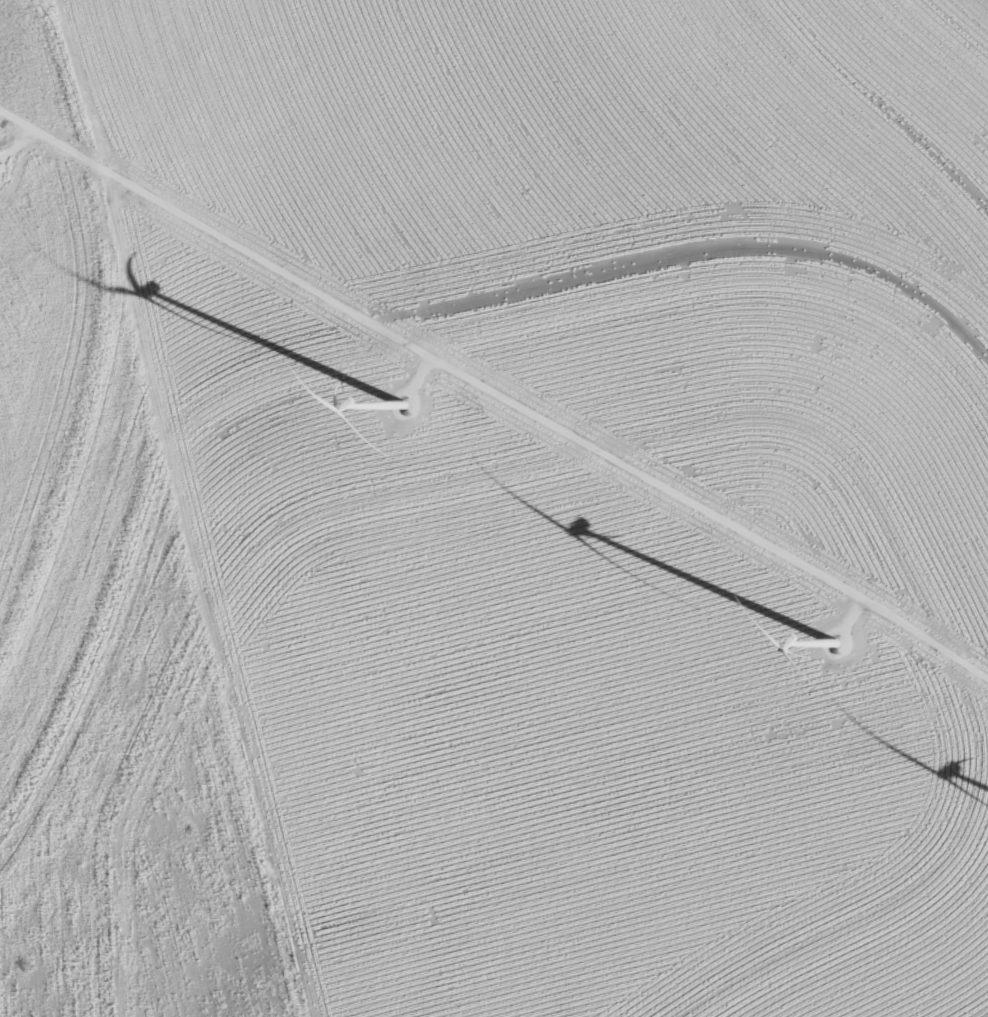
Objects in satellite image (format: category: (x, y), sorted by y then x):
road: (495, 392)
wind turbine: (405, 399)
wind turbine: (835, 652)

